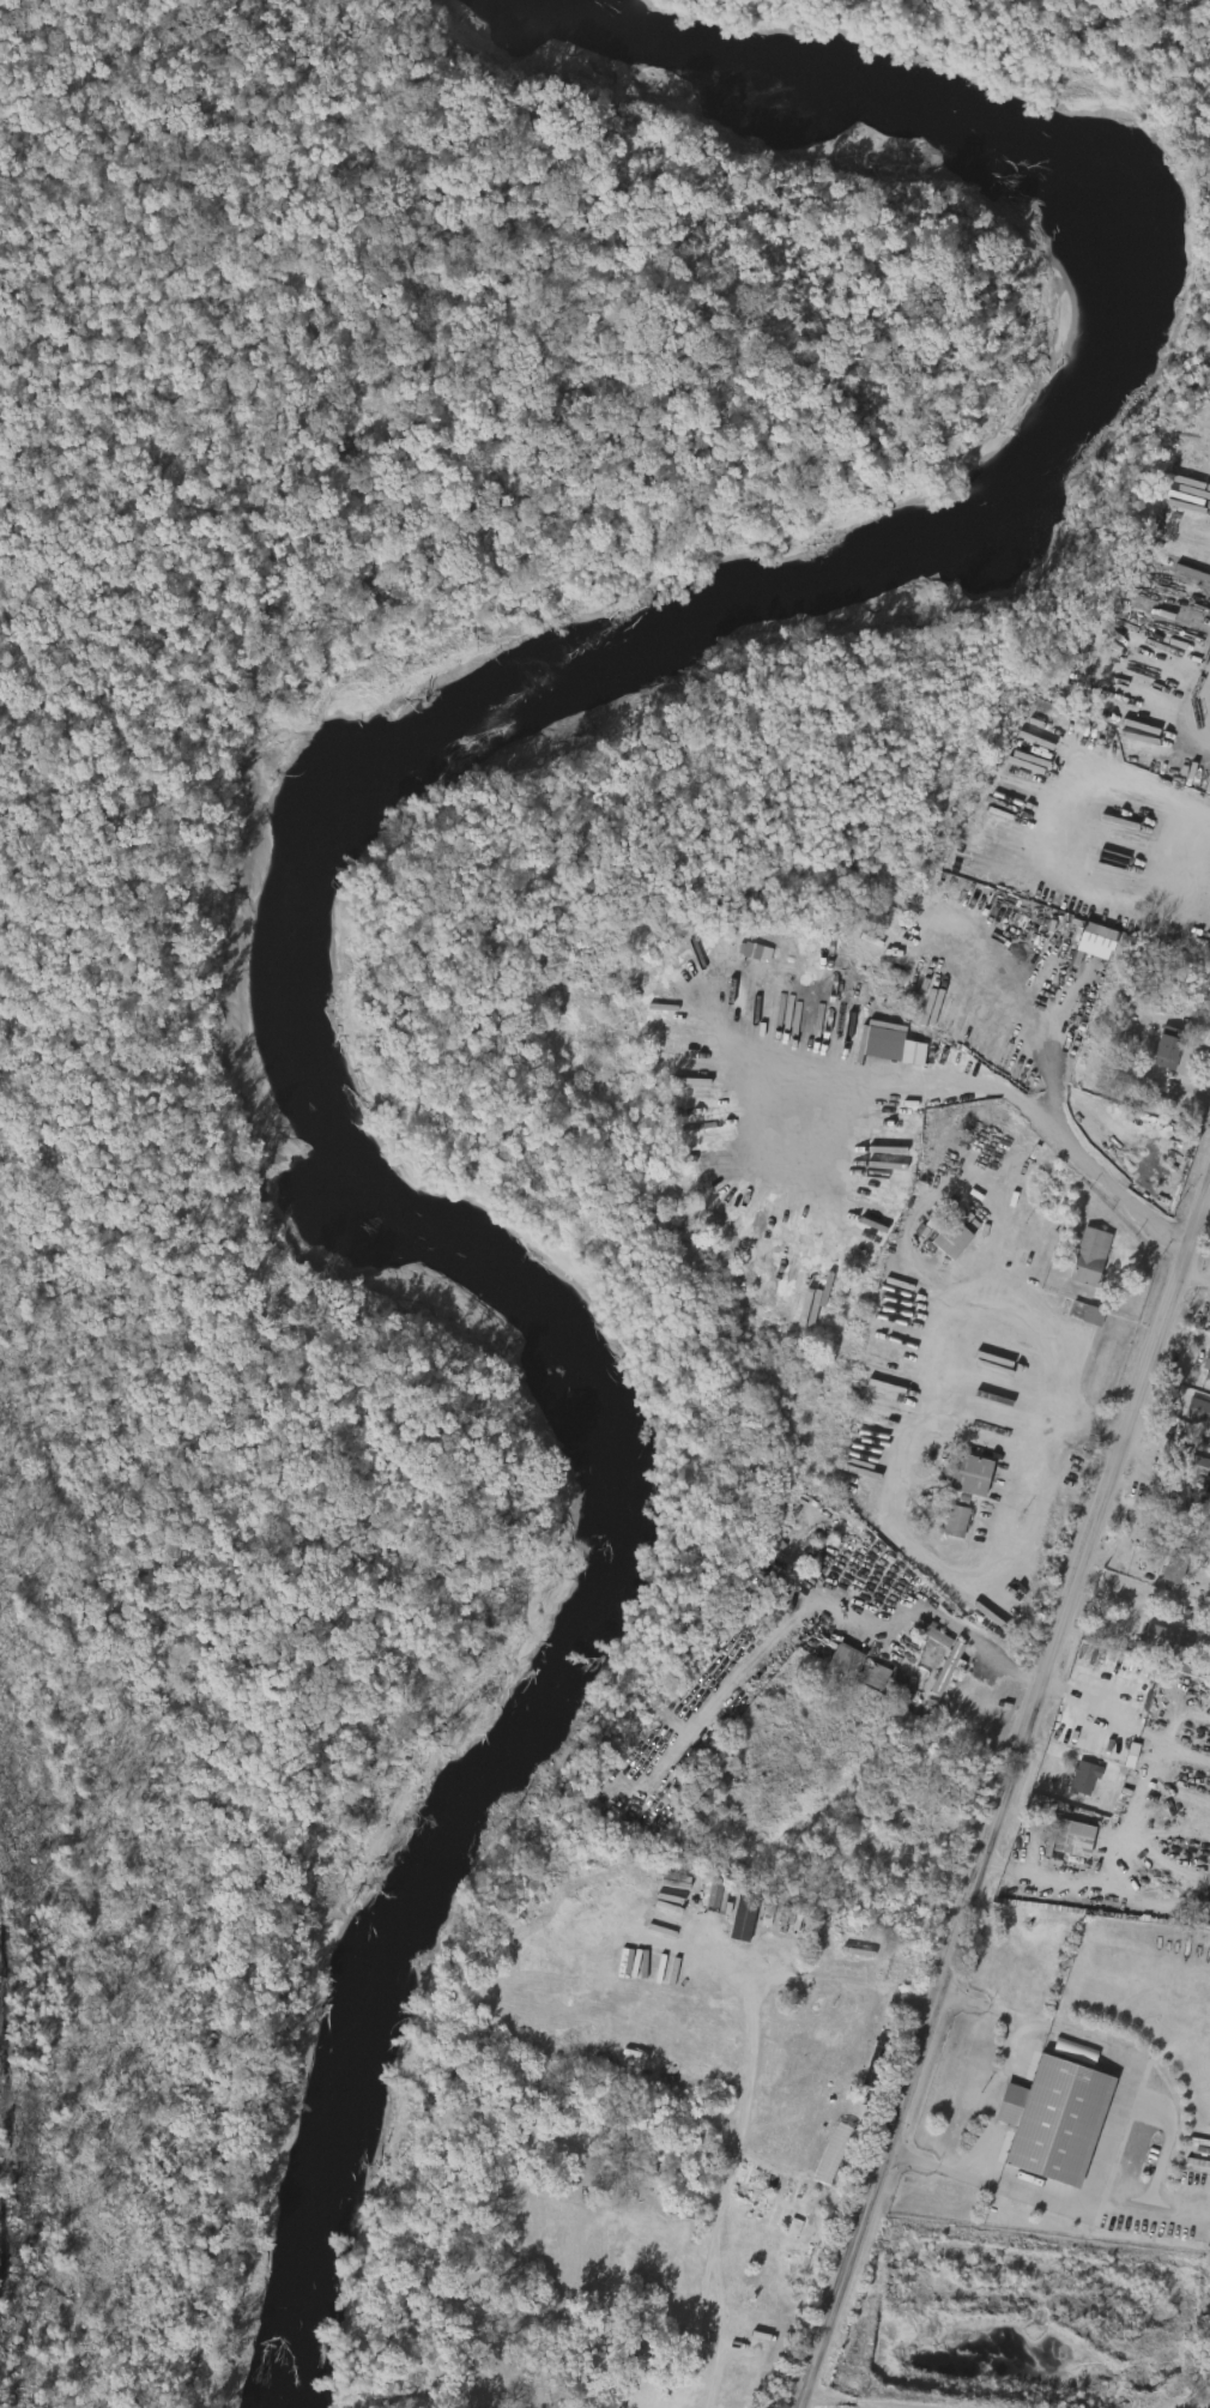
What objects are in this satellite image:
road: (1192, 741)
road: (1179, 799)
river: (343, 874)
building: (748, 955)
road: (1193, 1024)
building: (1170, 1052)
building: (903, 1056)
road: (1029, 1108)
road: (1209, 1195)
building: (955, 1239)
building: (1093, 1257)
building: (1077, 1317)
building: (1209, 1318)
building: (1206, 1360)
road: (1057, 1363)
road: (1180, 1376)
building: (1205, 1416)
building: (1198, 1468)
building: (1185, 1473)
building: (975, 1475)
road: (1030, 1501)
building: (960, 1522)
building: (946, 1523)
building: (1179, 1567)
building: (1166, 1569)
road: (963, 1583)
building: (1169, 1637)
building: (849, 1660)
building: (836, 1662)
building: (1188, 1664)
building: (950, 1668)
building: (877, 1676)
building: (864, 1679)
road: (1115, 1725)
road: (825, 1762)
building: (1088, 1779)
building: (1075, 1780)
road: (1006, 1802)
road: (975, 1830)
building: (734, 1920)
building: (1066, 2053)
building: (879, 2063)
road: (743, 2110)
building: (1057, 2120)
road: (1121, 2134)
building: (835, 2155)
road: (845, 2403)

